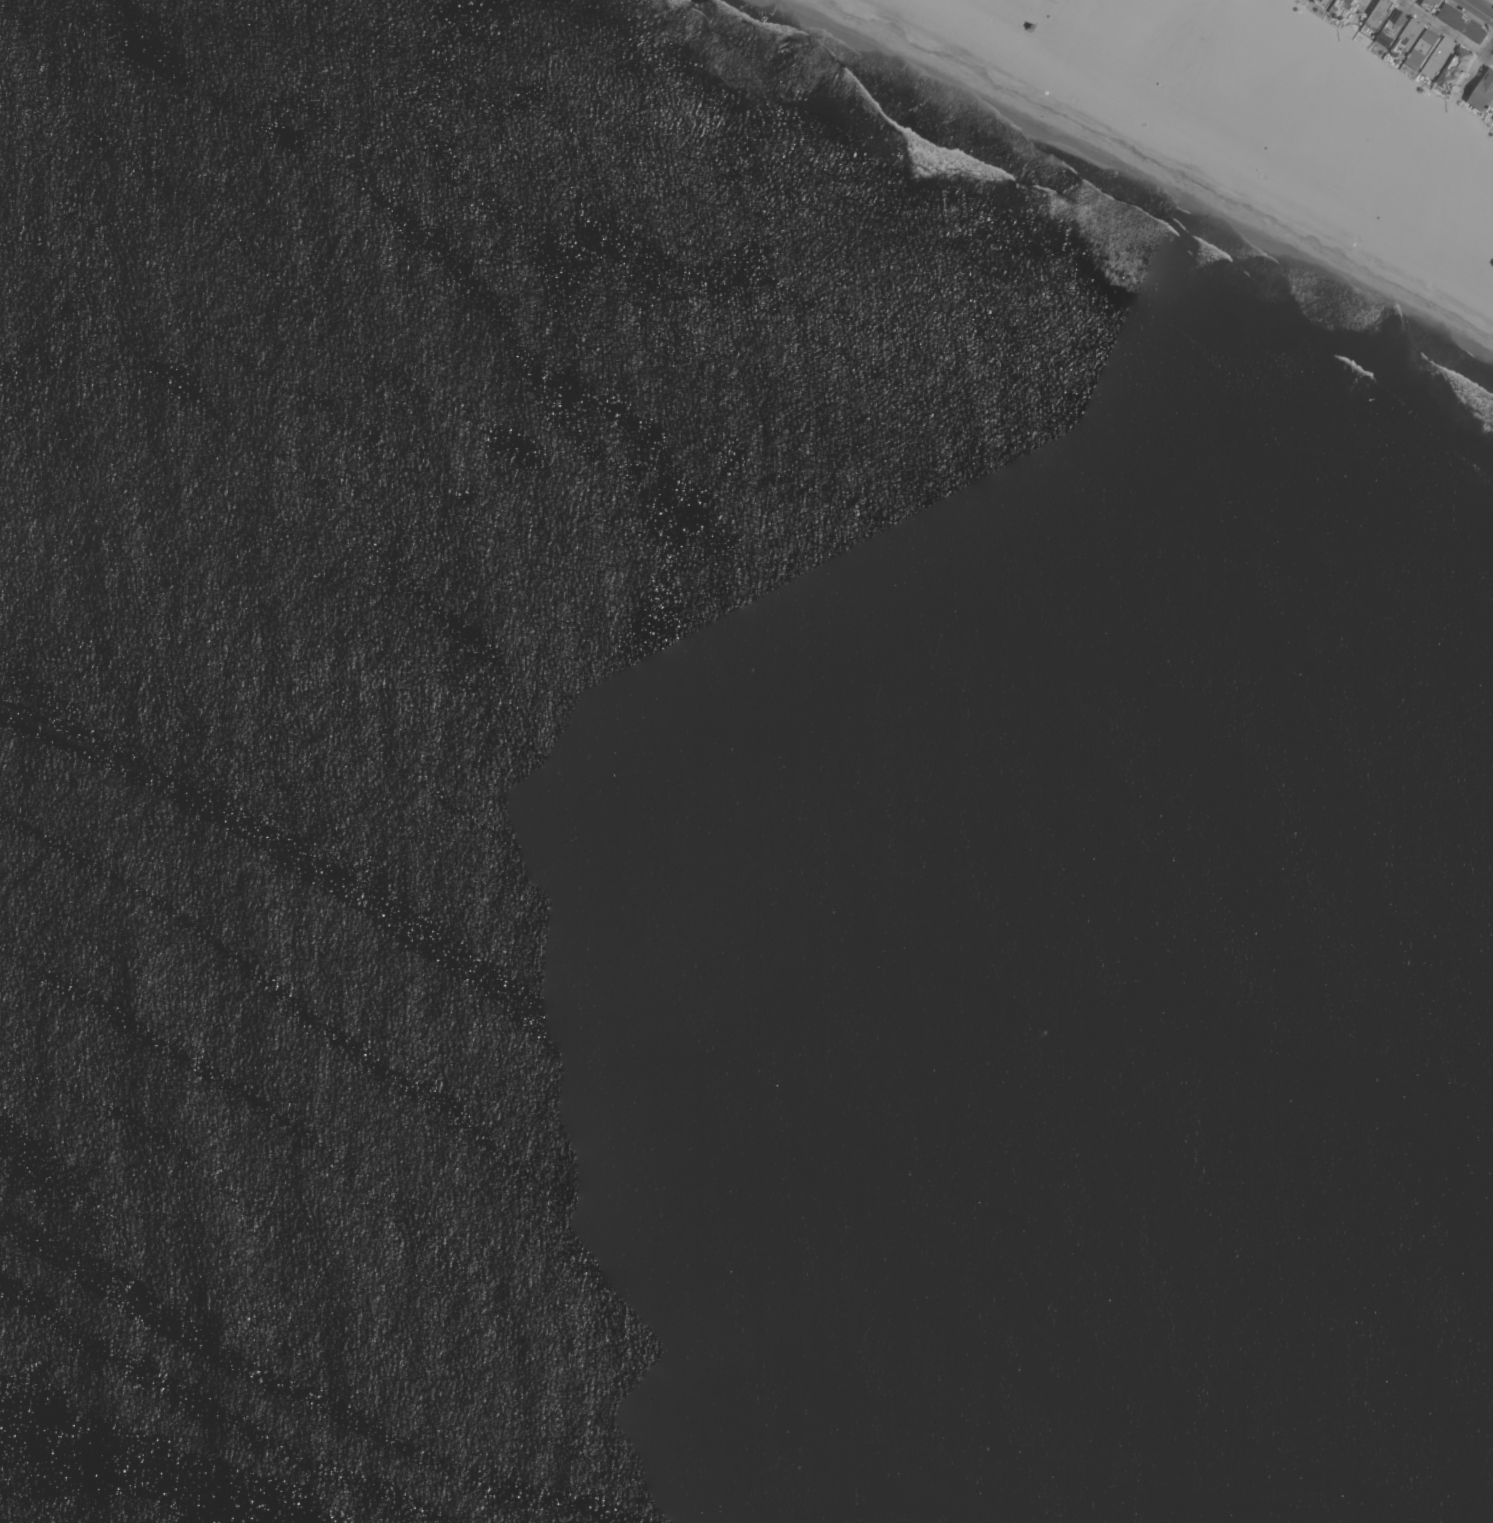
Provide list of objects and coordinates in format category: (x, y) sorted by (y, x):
road: (1492, 0)
building: (1323, 3)
building: (1430, 4)
building: (1340, 7)
road: (1482, 7)
road: (1365, 9)
building: (1376, 17)
building: (1461, 22)
building: (1391, 27)
road: (1447, 29)
building: (1407, 37)
building: (1421, 48)
building: (1438, 57)
road: (1477, 66)
building: (1454, 67)
building: (1483, 91)
building: (1492, 117)

